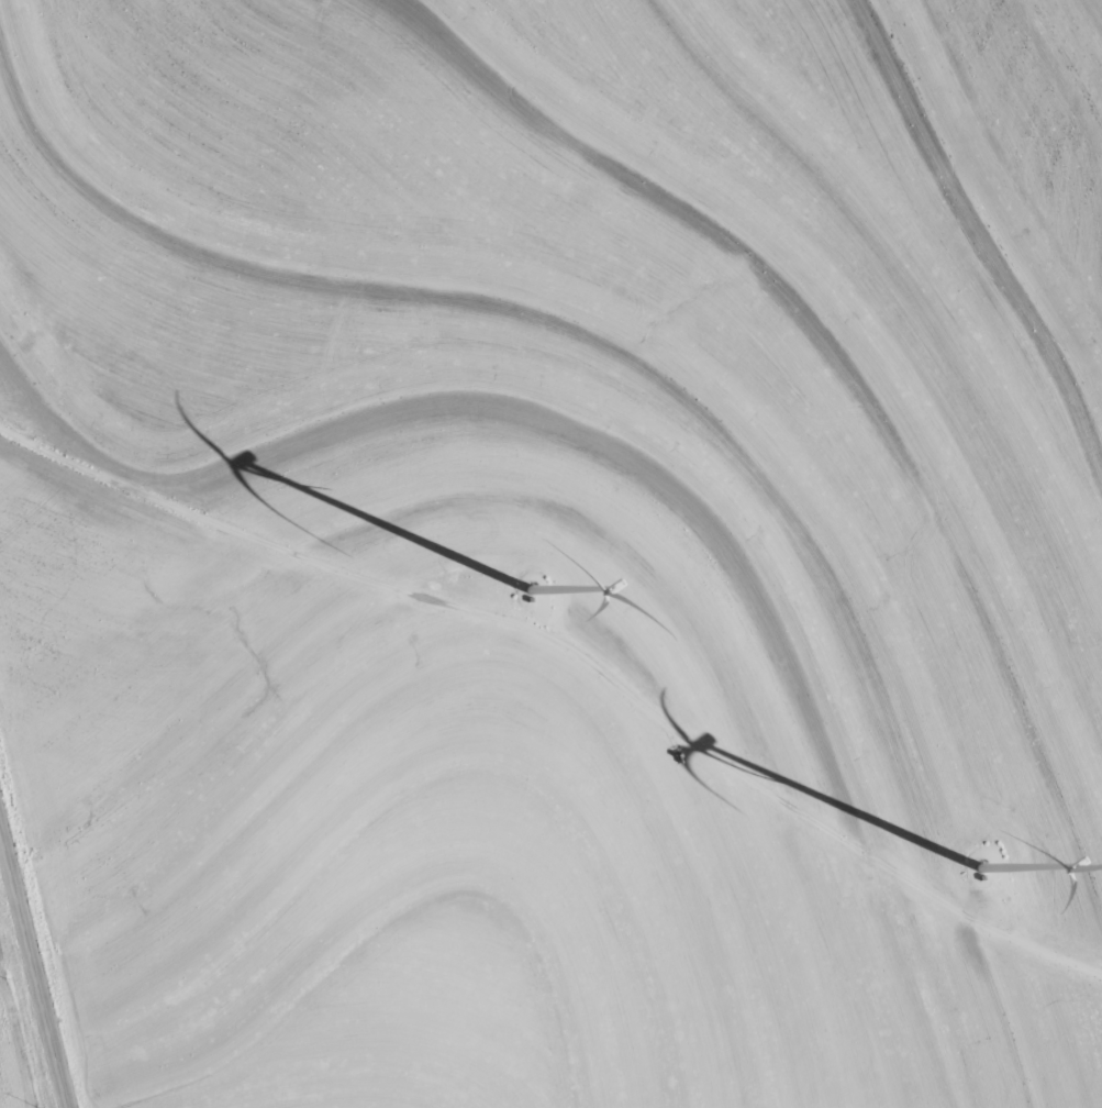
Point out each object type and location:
wind turbine: (523, 602)
wind turbine: (977, 875)
road: (35, 960)

